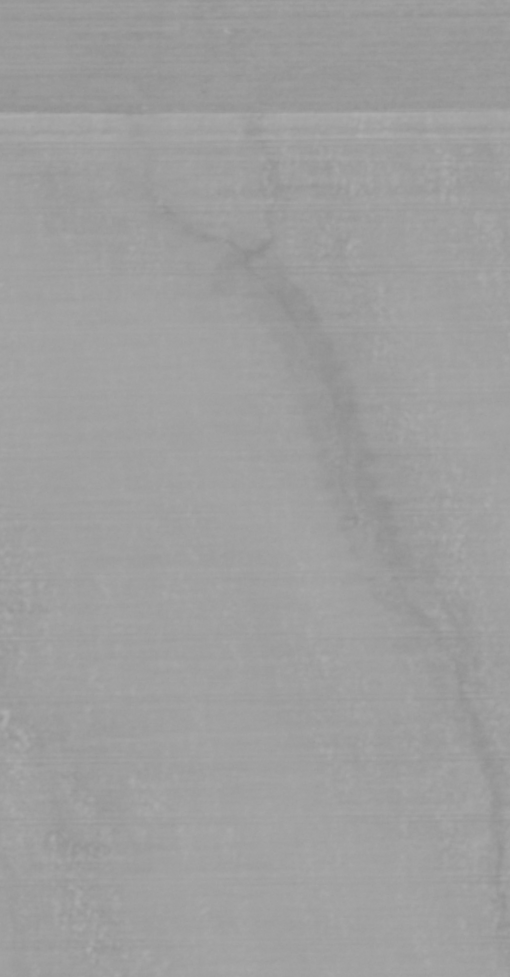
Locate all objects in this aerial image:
crop: (255, 488)

